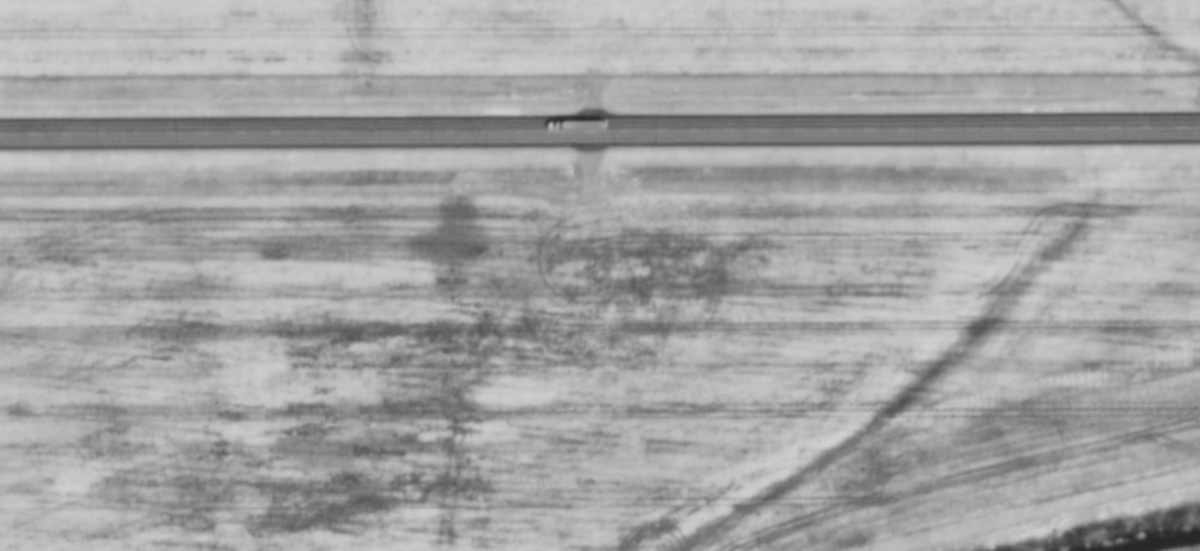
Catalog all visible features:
crop: (594, 36)
road: (599, 127)
crop: (583, 364)

